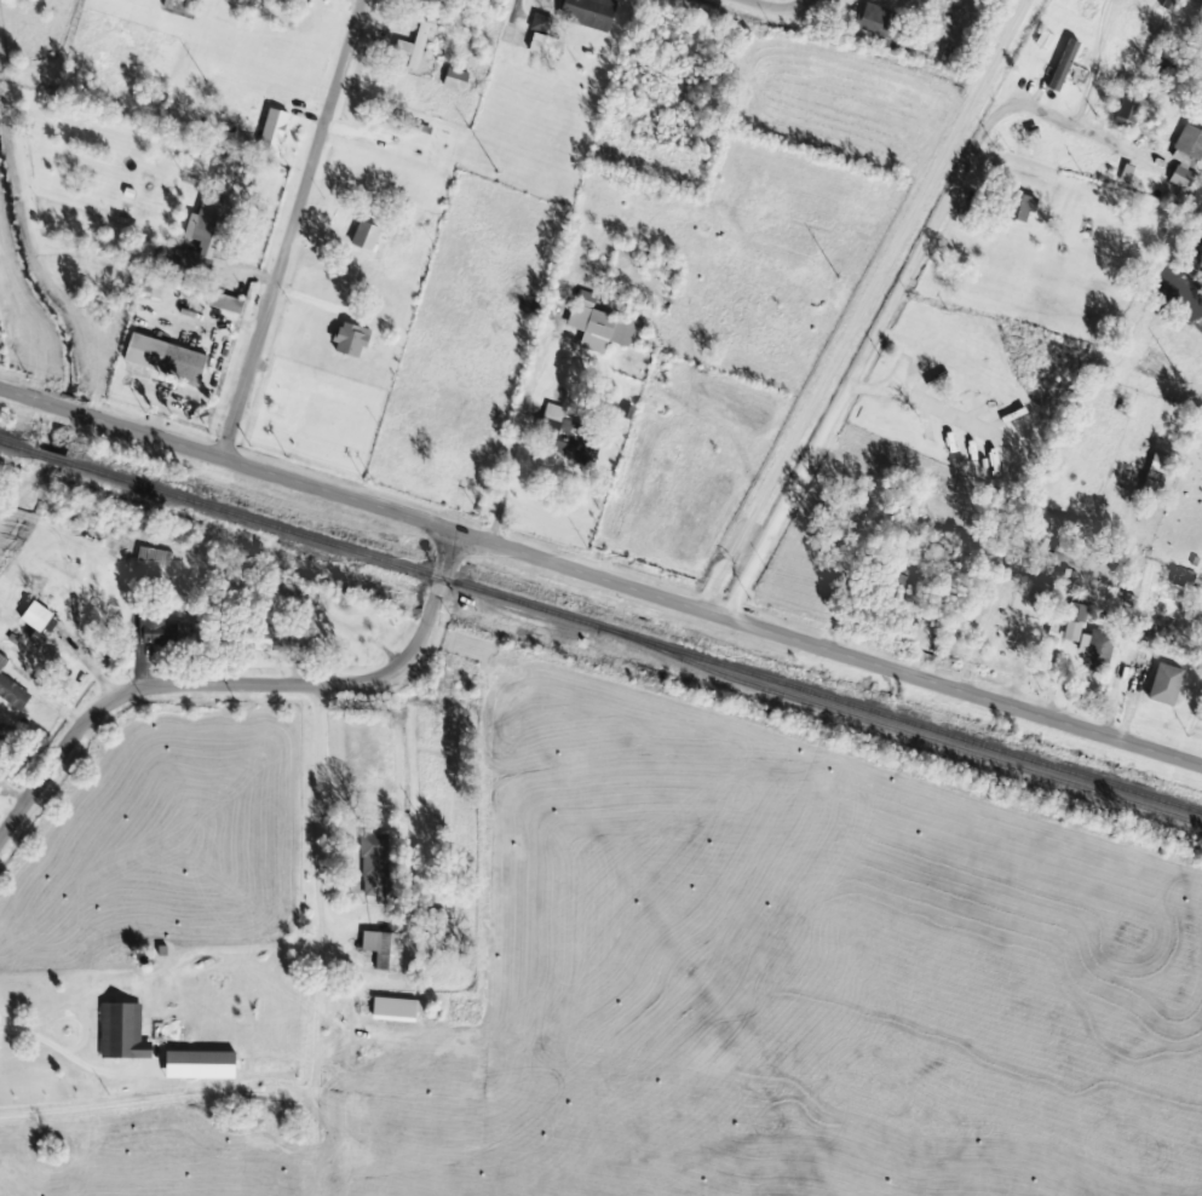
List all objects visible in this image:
building: (1168, 5)
road: (784, 6)
building: (588, 12)
building: (879, 21)
building: (540, 22)
building: (545, 45)
building: (410, 48)
building: (1063, 64)
building: (455, 79)
building: (1128, 108)
building: (274, 128)
building: (1185, 156)
building: (1018, 206)
road: (295, 226)
building: (364, 236)
building: (201, 238)
building: (150, 287)
road: (902, 291)
building: (224, 303)
building: (598, 324)
building: (351, 339)
building: (165, 358)
building: (560, 431)
building: (1155, 476)
building: (1063, 542)
building: (154, 557)
road: (599, 575)
building: (35, 616)
building: (1074, 621)
railway: (599, 628)
building: (156, 629)
building: (36, 638)
building: (264, 638)
building: (1095, 648)
building: (2, 661)
building: (1164, 684)
road: (242, 689)
building: (12, 692)
railway: (919, 737)
building: (373, 864)
building: (431, 931)
building: (384, 948)
building: (397, 1008)
road: (70, 1012)
building: (122, 1031)
road: (68, 1056)
building: (199, 1064)

